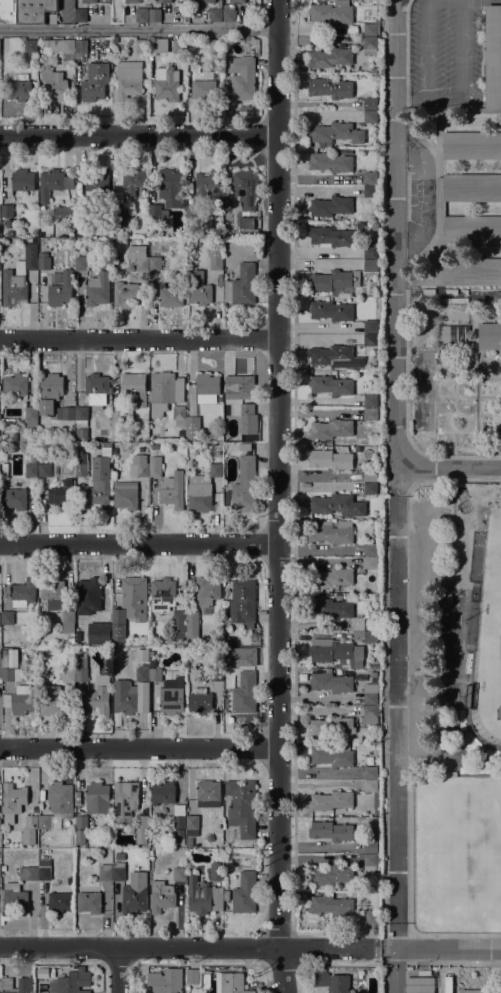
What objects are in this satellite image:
building: (86, 1)
building: (133, 1)
building: (163, 1)
building: (202, 1)
building: (238, 1)
building: (34, 10)
building: (8, 12)
building: (228, 13)
building: (332, 13)
building: (80, 14)
building: (142, 15)
building: (155, 15)
building: (211, 15)
building: (371, 28)
road: (140, 29)
building: (61, 45)
building: (370, 45)
building: (30, 46)
building: (141, 46)
building: (178, 46)
building: (216, 46)
building: (80, 49)
road: (406, 52)
parking lot: (444, 53)
building: (493, 56)
building: (330, 58)
building: (242, 77)
building: (128, 80)
building: (94, 82)
building: (166, 84)
building: (54, 85)
building: (330, 88)
building: (18, 90)
building: (204, 90)
building: (370, 103)
building: (370, 116)
building: (336, 132)
road: (139, 134)
building: (472, 145)
building: (330, 162)
building: (133, 177)
building: (370, 177)
building: (22, 182)
building: (53, 183)
building: (208, 185)
building: (170, 187)
building: (471, 187)
building: (245, 188)
road: (437, 188)
building: (93, 189)
building: (370, 191)
building: (330, 206)
building: (7, 210)
building: (157, 210)
building: (192, 210)
building: (439, 211)
building: (63, 213)
building: (120, 217)
building: (246, 222)
building: (358, 226)
building: (374, 226)
building: (71, 227)
building: (471, 229)
building: (254, 232)
building: (80, 233)
building: (330, 236)
building: (371, 249)
building: (215, 255)
building: (44, 260)
building: (81, 263)
building: (142, 263)
building: (155, 263)
building: (370, 265)
building: (471, 271)
building: (19, 276)
building: (335, 281)
building: (241, 285)
building: (198, 288)
building: (97, 289)
building: (61, 290)
building: (124, 292)
building: (170, 296)
building: (331, 310)
building: (371, 326)
building: (454, 334)
building: (489, 336)
road: (140, 339)
building: (370, 340)
building: (334, 356)
building: (441, 358)
building: (420, 370)
building: (15, 384)
building: (332, 384)
building: (135, 386)
building: (207, 387)
building: (97, 388)
building: (165, 391)
building: (244, 396)
building: (53, 397)
building: (371, 401)
building: (81, 413)
building: (421, 413)
building: (31, 415)
building: (179, 415)
building: (370, 418)
building: (119, 419)
building: (0, 421)
building: (8, 421)
building: (193, 427)
building: (330, 429)
building: (154, 446)
building: (245, 446)
building: (227, 450)
building: (145, 451)
building: (80, 456)
building: (330, 459)
building: (155, 466)
building: (31, 467)
building: (139, 467)
road: (448, 467)
building: (4, 468)
building: (81, 469)
building: (44, 470)
building: (371, 475)
building: (99, 483)
building: (243, 485)
building: (370, 488)
building: (202, 489)
building: (172, 490)
building: (125, 494)
building: (62, 495)
road: (279, 496)
road: (396, 496)
building: (15, 498)
building: (338, 504)
building: (331, 532)
road: (139, 542)
building: (371, 549)
road: (314, 550)
building: (370, 563)
building: (331, 577)
building: (53, 591)
building: (88, 592)
building: (23, 593)
building: (207, 593)
building: (134, 594)
building: (162, 594)
building: (243, 602)
building: (329, 608)
building: (7, 617)
building: (179, 617)
building: (0, 618)
building: (77, 620)
building: (68, 621)
building: (371, 621)
building: (192, 625)
building: (118, 626)
building: (99, 633)
building: (367, 636)
park: (488, 638)
building: (71, 640)
building: (228, 641)
building: (337, 653)
building: (10, 659)
building: (0, 665)
building: (81, 668)
building: (154, 671)
building: (7, 674)
building: (65, 674)
building: (142, 674)
building: (216, 674)
building: (331, 682)
building: (244, 694)
building: (467, 695)
building: (99, 696)
building: (142, 696)
building: (125, 697)
building: (171, 697)
building: (370, 698)
building: (22, 701)
building: (51, 701)
building: (200, 701)
building: (369, 715)
building: (332, 727)
road: (139, 747)
building: (332, 755)
building: (448, 760)
building: (370, 772)
building: (370, 785)
building: (163, 793)
building: (208, 793)
building: (13, 798)
building: (60, 798)
building: (97, 798)
building: (125, 800)
building: (331, 800)
building: (242, 806)
building: (328, 813)
building: (179, 817)
building: (44, 821)
building: (0, 822)
building: (31, 822)
building: (81, 822)
building: (192, 825)
building: (141, 828)
building: (331, 831)
building: (181, 833)
building: (80, 836)
building: (189, 841)
building: (256, 844)
building: (370, 846)
road: (409, 846)
park: (457, 852)
building: (119, 856)
building: (370, 861)
building: (0, 868)
building: (3, 868)
building: (44, 869)
building: (118, 871)
building: (105, 872)
building: (28, 873)
building: (179, 874)
building: (216, 874)
building: (331, 875)
building: (70, 880)
building: (245, 893)
building: (225, 895)
building: (161, 896)
building: (14, 897)
building: (204, 897)
building: (134, 898)
building: (59, 902)
building: (89, 902)
building: (331, 905)
building: (371, 917)
road: (451, 934)
road: (410, 946)
road: (189, 947)
road: (296, 948)
road: (440, 948)
road: (118, 962)
road: (396, 962)
road: (455, 962)
road: (339, 963)
road: (381, 963)
road: (282, 965)
road: (118, 969)
building: (204, 970)
building: (42, 973)
building: (192, 976)
road: (453, 977)
building: (166, 980)
building: (205, 980)
building: (71, 982)
building: (332, 982)
building: (25, 983)
building: (230, 983)
building: (419, 985)
building: (479, 990)

